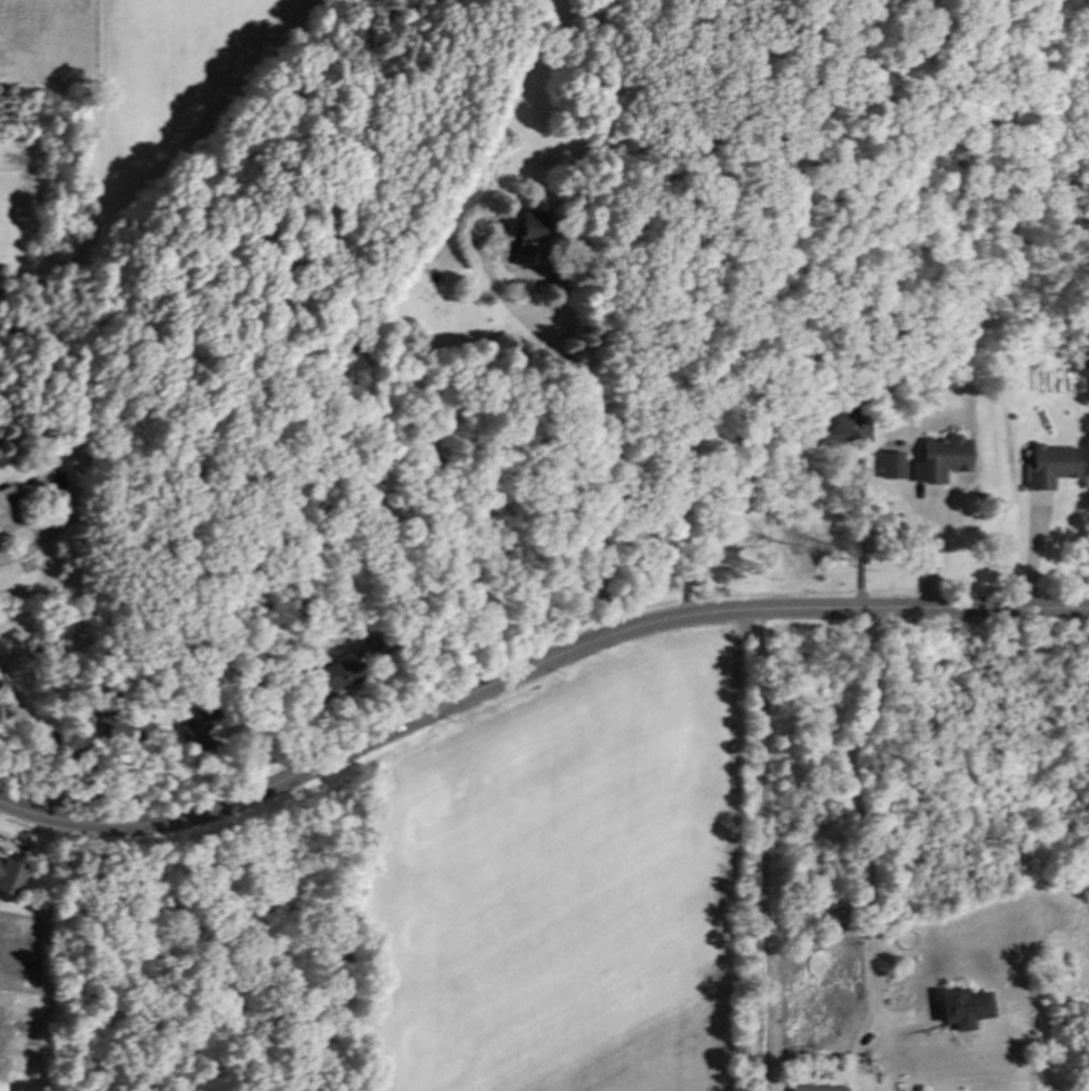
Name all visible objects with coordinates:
building: (529, 238)
building: (829, 424)
building: (939, 458)
road: (603, 463)
building: (890, 465)
building: (1050, 465)
building: (8, 505)
road: (860, 514)
road: (37, 533)
road: (929, 540)
road: (531, 668)
building: (333, 678)
building: (1, 680)
building: (117, 730)
building: (204, 731)
road: (52, 757)
road: (855, 813)
road: (770, 851)
building: (11, 877)
crop: (545, 885)
building: (963, 1008)
crop: (671, 1068)
building: (816, 1089)

